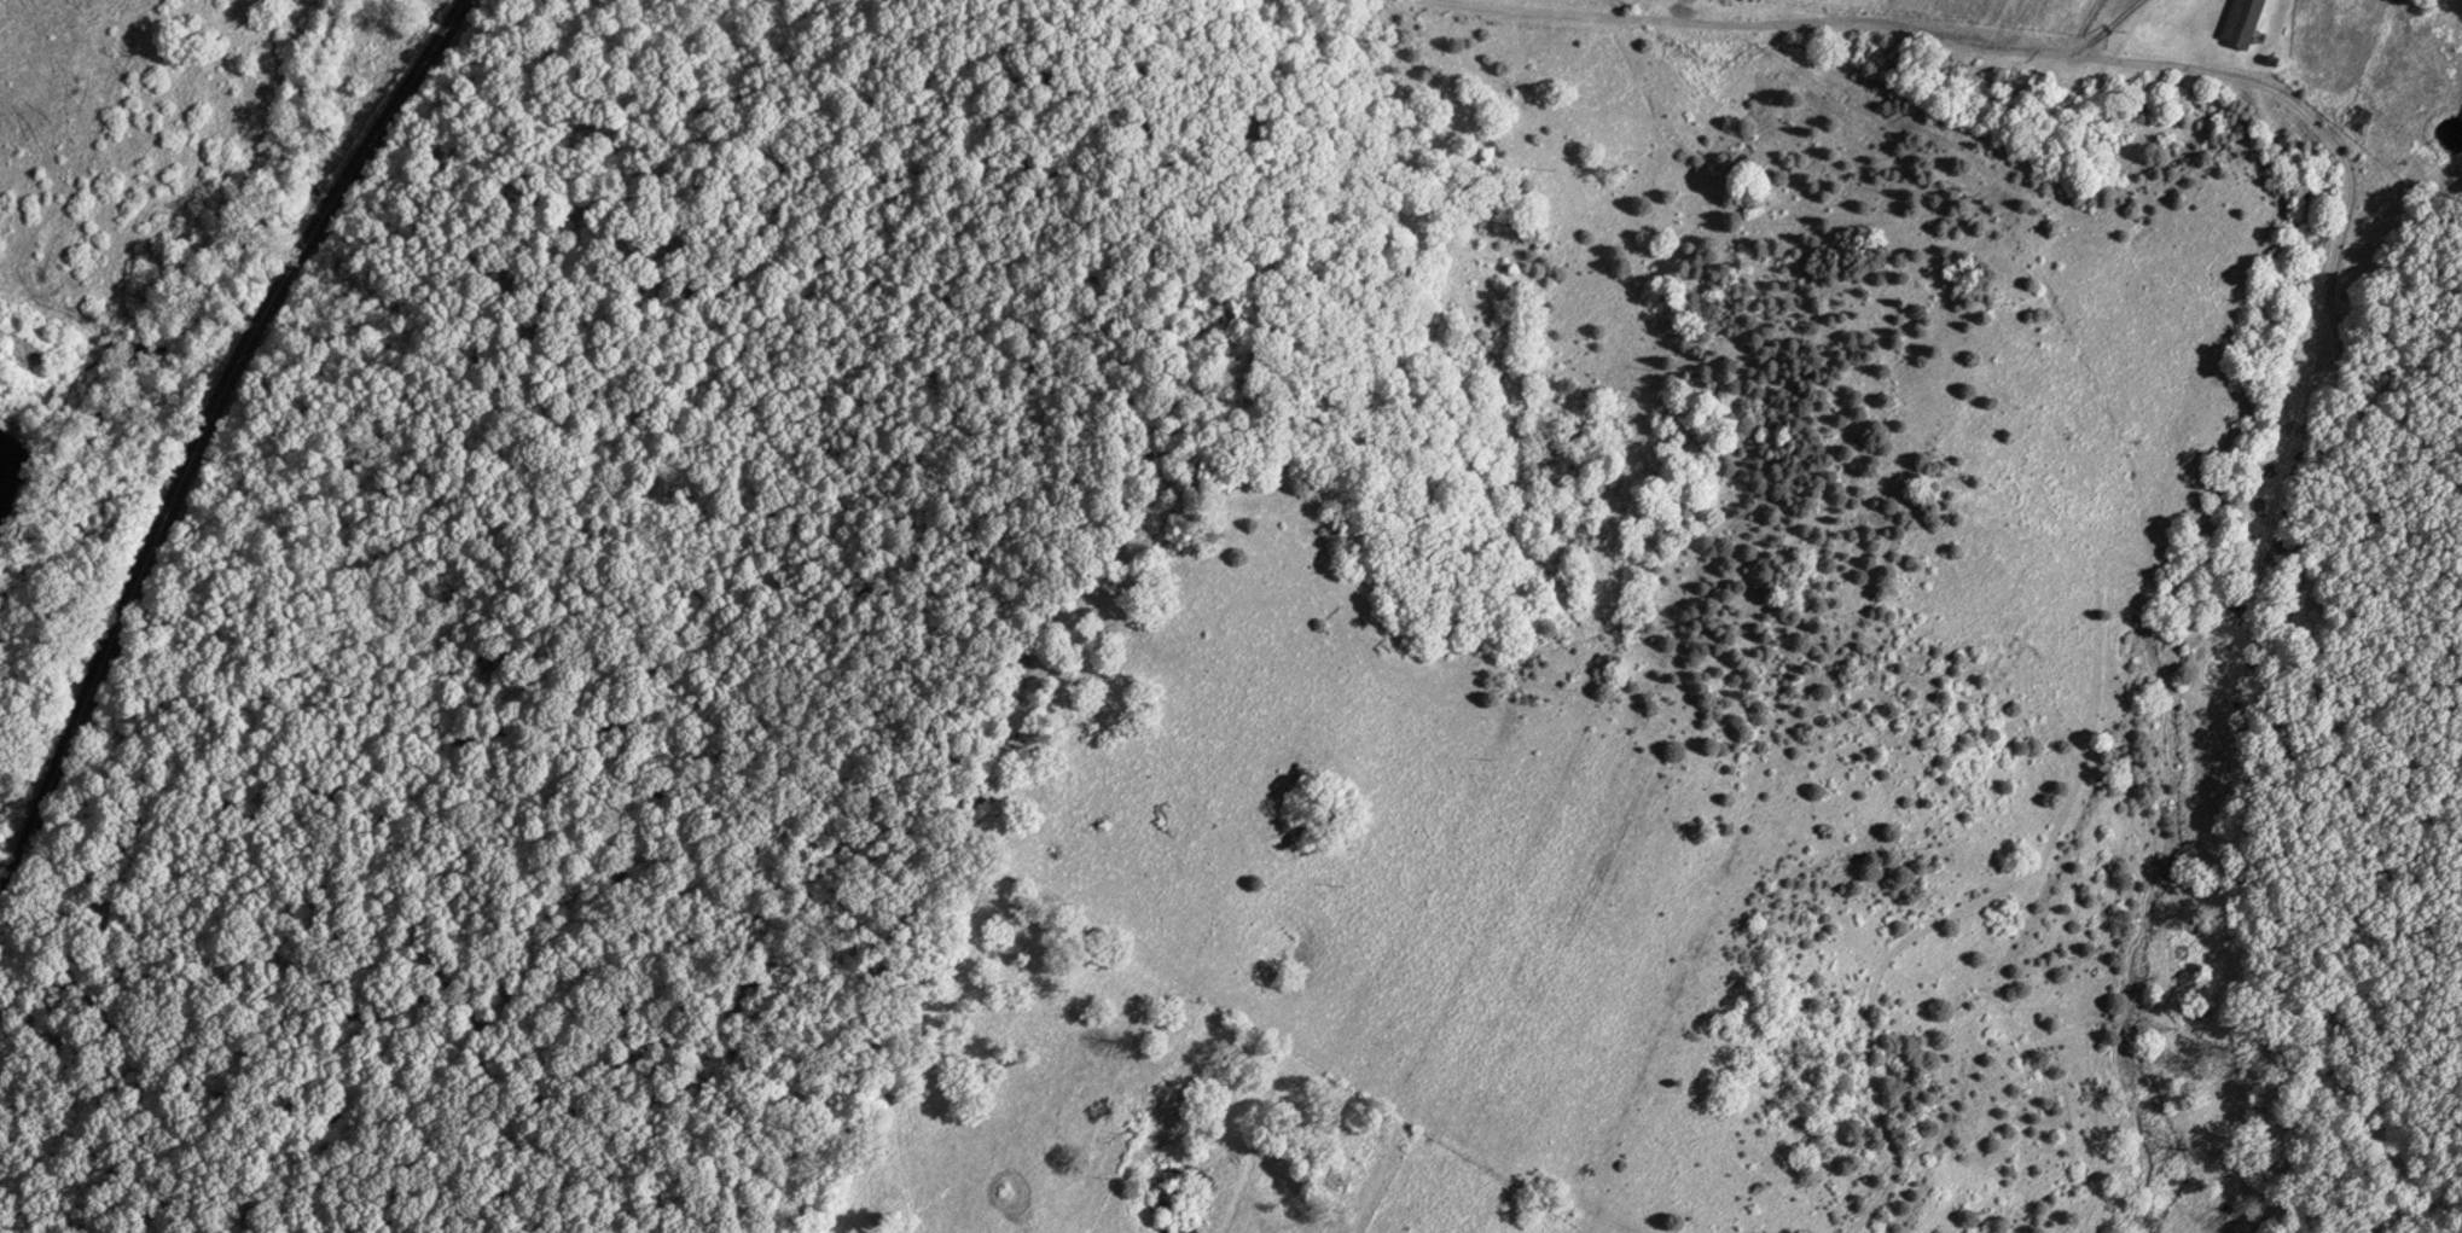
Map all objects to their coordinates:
building: (2241, 22)
road: (1712, 29)
road: (202, 447)

